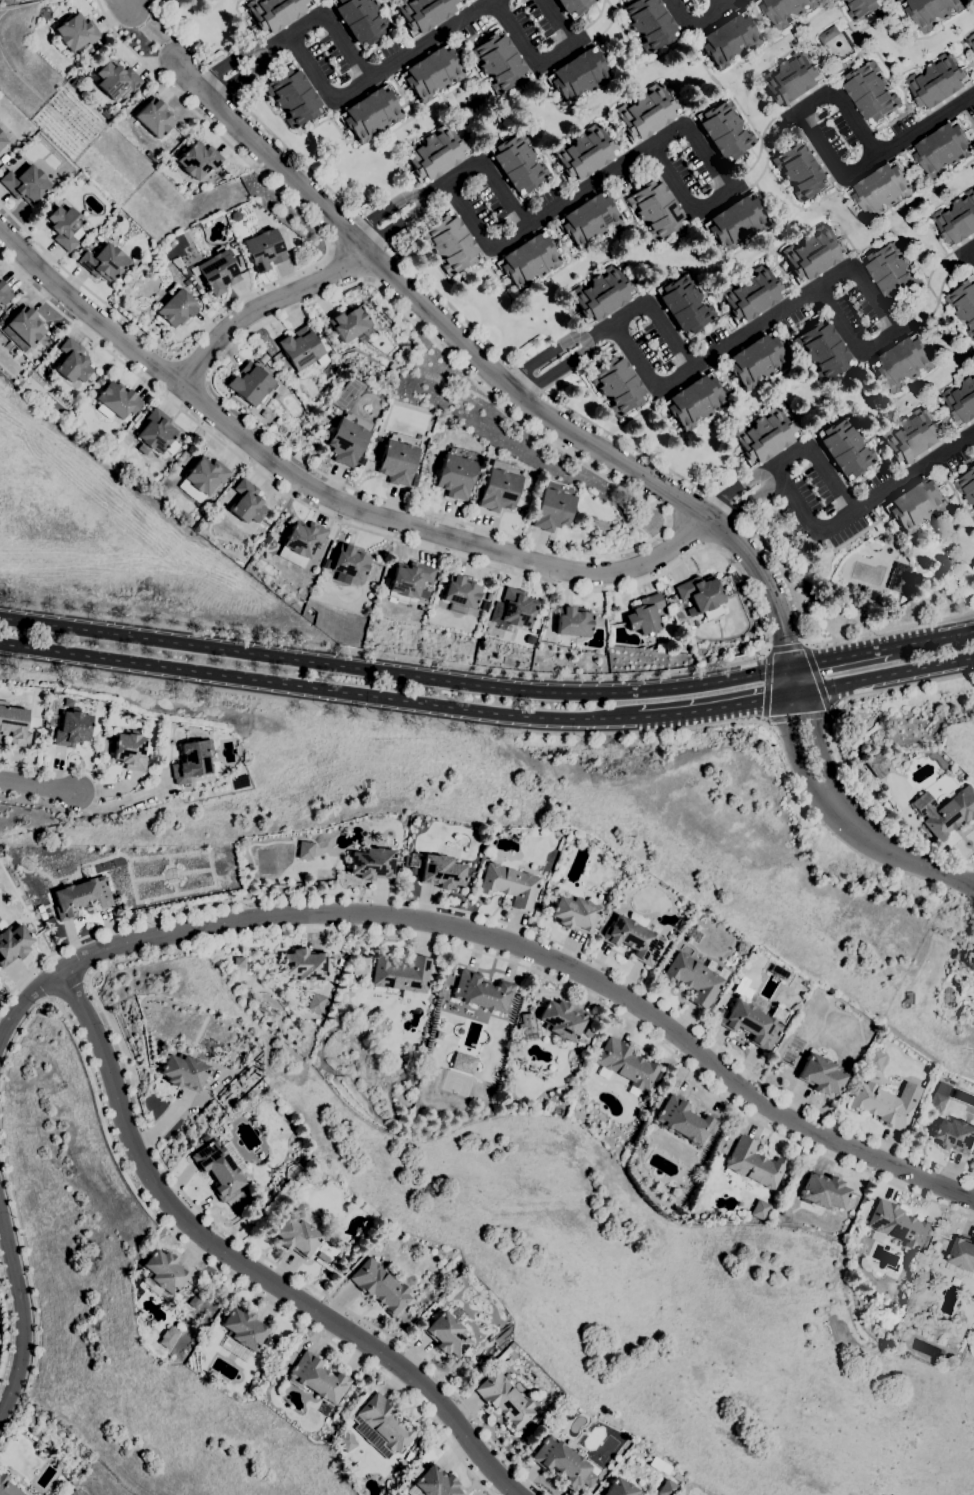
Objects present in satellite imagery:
road: (496, 0)
building: (840, 0)
road: (126, 4)
road: (723, 4)
road: (732, 4)
building: (573, 6)
building: (863, 8)
building: (785, 10)
building: (930, 11)
building: (274, 12)
building: (424, 13)
building: (360, 19)
building: (649, 23)
road: (694, 28)
road: (148, 30)
road: (335, 32)
building: (75, 33)
building: (828, 34)
building: (728, 40)
building: (971, 40)
building: (498, 61)
road: (546, 63)
building: (432, 73)
building: (578, 75)
building: (115, 79)
building: (790, 80)
building: (937, 82)
building: (74, 84)
building: (870, 92)
building: (293, 96)
road: (337, 103)
road: (800, 110)
building: (645, 112)
building: (370, 113)
building: (106, 114)
building: (154, 117)
road: (927, 125)
building: (724, 130)
building: (1, 139)
building: (942, 148)
building: (434, 153)
building: (584, 153)
building: (3, 158)
building: (198, 159)
building: (517, 163)
building: (801, 169)
road: (598, 175)
road: (492, 177)
building: (25, 184)
building: (881, 189)
building: (656, 209)
building: (589, 219)
building: (957, 219)
building: (735, 222)
building: (65, 227)
building: (450, 243)
building: (264, 249)
road: (970, 250)
building: (812, 253)
building: (528, 260)
building: (103, 262)
building: (217, 272)
road: (297, 272)
building: (892, 273)
building: (186, 282)
building: (199, 291)
building: (4, 293)
building: (751, 293)
building: (601, 294)
road: (264, 304)
building: (684, 304)
building: (964, 304)
building: (176, 307)
building: (2, 318)
road: (659, 319)
building: (348, 322)
building: (24, 327)
road: (760, 327)
building: (315, 329)
building: (319, 335)
building: (300, 348)
building: (822, 349)
road: (224, 355)
building: (756, 360)
building: (72, 361)
building: (902, 362)
road: (192, 368)
road: (497, 370)
building: (973, 370)
building: (973, 372)
building: (100, 381)
building: (250, 384)
building: (617, 384)
building: (277, 396)
building: (117, 399)
building: (695, 401)
building: (961, 401)
road: (578, 412)
building: (263, 413)
building: (156, 434)
building: (764, 435)
building: (912, 437)
building: (348, 438)
building: (844, 447)
building: (397, 458)
building: (360, 460)
road: (820, 460)
building: (456, 472)
building: (205, 474)
building: (414, 479)
building: (499, 486)
building: (966, 486)
road: (320, 493)
building: (246, 502)
building: (916, 503)
building: (553, 506)
building: (188, 521)
building: (197, 528)
road: (828, 529)
road: (687, 533)
building: (265, 540)
building: (300, 542)
building: (350, 561)
road: (735, 570)
building: (409, 578)
building: (899, 581)
building: (460, 593)
building: (699, 593)
building: (485, 608)
building: (517, 609)
building: (711, 612)
building: (644, 614)
building: (573, 621)
road: (932, 639)
road: (785, 643)
road: (840, 657)
road: (395, 672)
road: (884, 674)
road: (818, 681)
road: (766, 686)
road: (318, 687)
road: (897, 688)
road: (716, 706)
road: (384, 712)
road: (799, 721)
building: (14, 724)
building: (72, 727)
building: (129, 750)
building: (152, 755)
building: (191, 761)
building: (875, 766)
road: (37, 787)
road: (98, 793)
road: (877, 813)
building: (950, 813)
road: (852, 819)
building: (304, 850)
building: (413, 862)
building: (371, 863)
building: (88, 871)
building: (441, 871)
building: (635, 877)
building: (510, 885)
building: (81, 897)
building: (40, 908)
building: (574, 913)
building: (42, 916)
road: (504, 923)
building: (634, 937)
road: (499, 938)
building: (13, 943)
road: (208, 944)
building: (340, 962)
building: (971, 964)
building: (303, 965)
building: (401, 974)
building: (693, 979)
building: (742, 987)
building: (481, 991)
building: (316, 1003)
building: (561, 1019)
building: (753, 1022)
road: (16, 1027)
building: (529, 1027)
building: (588, 1032)
building: (875, 1060)
building: (463, 1062)
building: (626, 1065)
building: (595, 1068)
building: (183, 1071)
building: (821, 1074)
building: (584, 1083)
building: (911, 1095)
building: (938, 1097)
building: (881, 1105)
building: (685, 1120)
building: (954, 1135)
building: (204, 1136)
building: (753, 1163)
building: (218, 1169)
building: (823, 1191)
building: (675, 1192)
building: (759, 1209)
building: (898, 1225)
building: (296, 1236)
building: (878, 1236)
building: (944, 1242)
building: (962, 1253)
building: (322, 1256)
road: (249, 1263)
building: (928, 1272)
building: (162, 1274)
road: (227, 1275)
building: (955, 1281)
building: (380, 1286)
building: (195, 1300)
road: (29, 1306)
road: (23, 1312)
road: (6, 1327)
building: (243, 1328)
building: (446, 1334)
building: (168, 1337)
building: (317, 1377)
building: (505, 1399)
building: (567, 1414)
building: (382, 1425)
building: (528, 1425)
building: (346, 1441)
building: (561, 1462)
building: (431, 1482)
building: (7, 1486)
building: (619, 1488)
building: (667, 1488)
building: (75, 1493)

